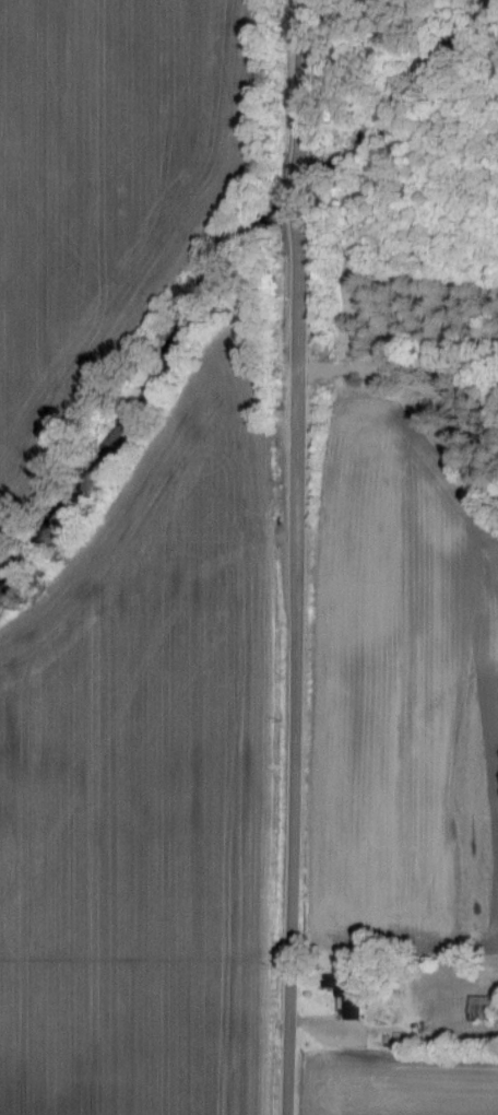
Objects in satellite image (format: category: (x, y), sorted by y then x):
road: (407, 377)
road: (297, 557)
building: (351, 993)
building: (485, 1007)

